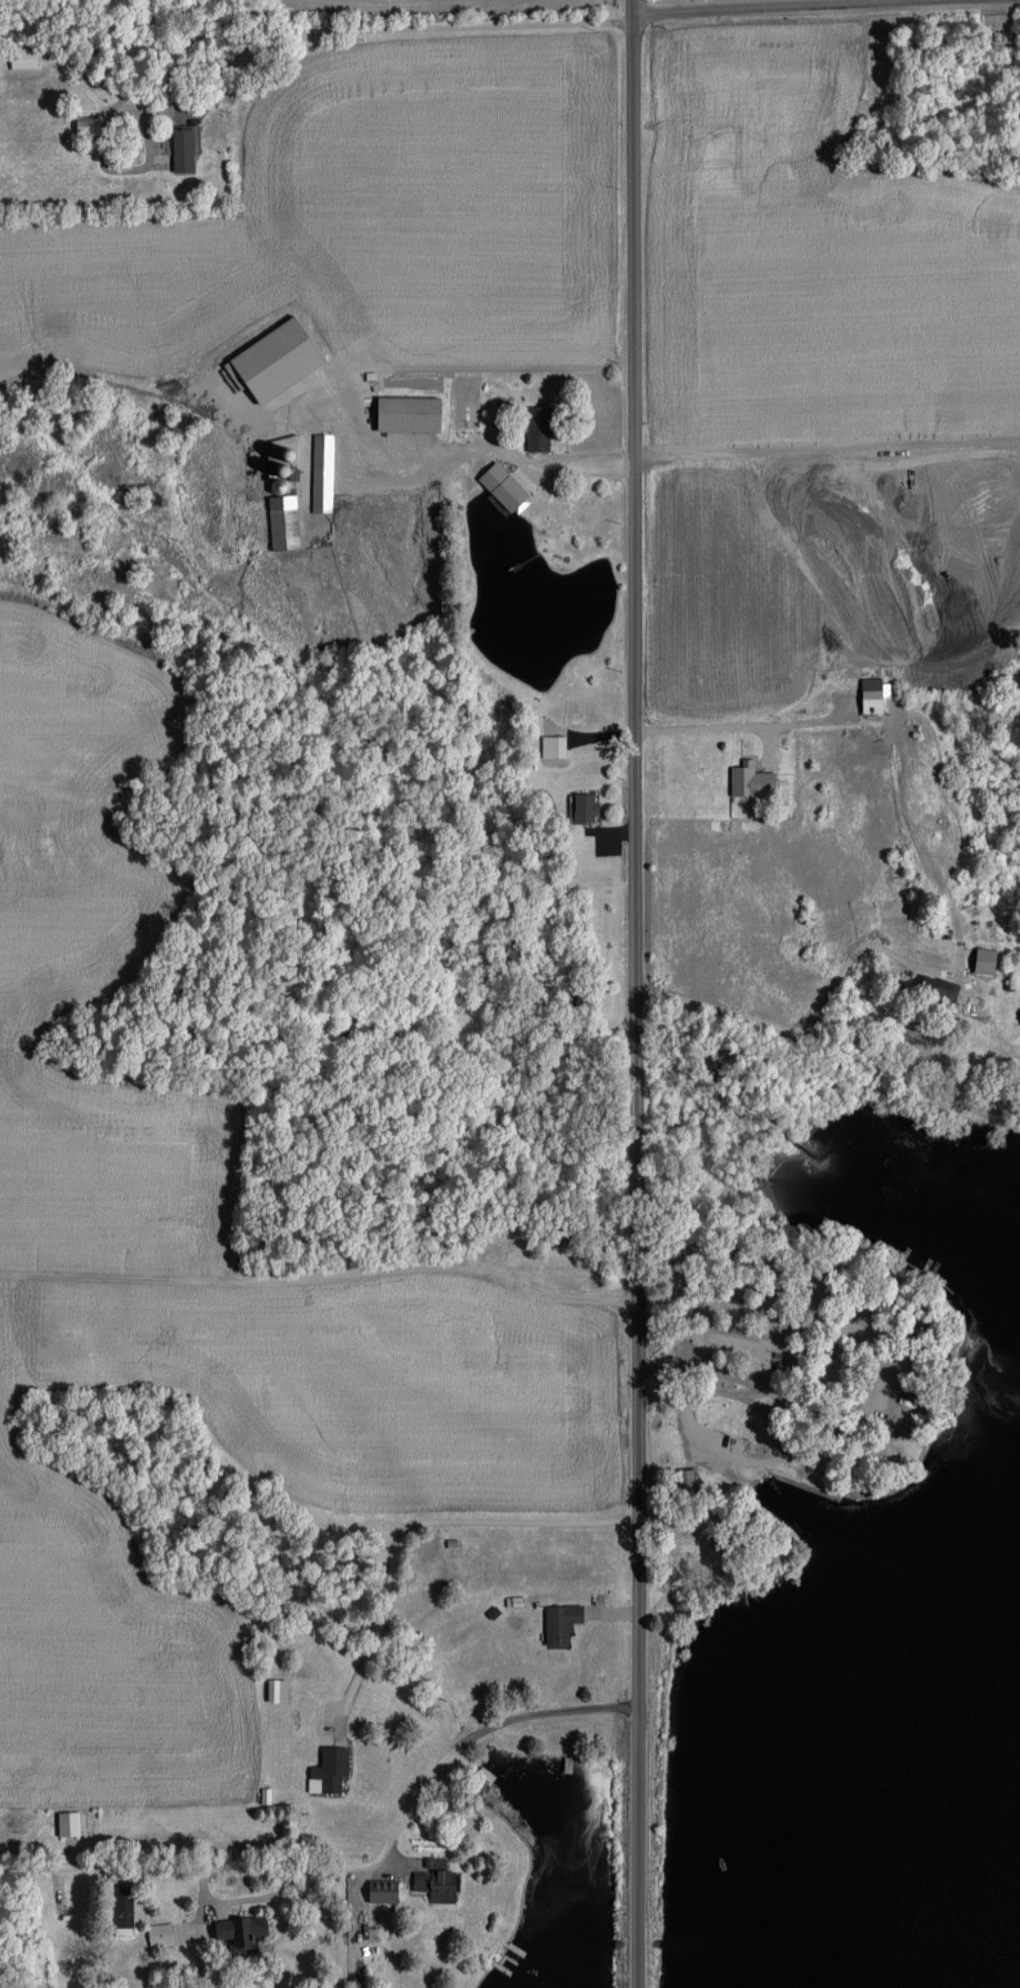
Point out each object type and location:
road: (761, 5)
road: (397, 30)
building: (22, 58)
building: (85, 125)
building: (180, 149)
building: (270, 360)
building: (403, 414)
building: (536, 428)
building: (320, 472)
building: (500, 481)
building: (280, 521)
building: (867, 701)
road: (702, 726)
building: (550, 746)
building: (748, 781)
building: (582, 807)
building: (980, 961)
building: (935, 988)
road: (628, 994)
building: (1018, 1016)
road: (796, 1036)
road: (827, 1366)
road: (410, 1529)
building: (557, 1622)
building: (326, 1771)
road: (350, 1869)
building: (432, 1880)
building: (379, 1891)
building: (119, 1906)
building: (234, 1929)

